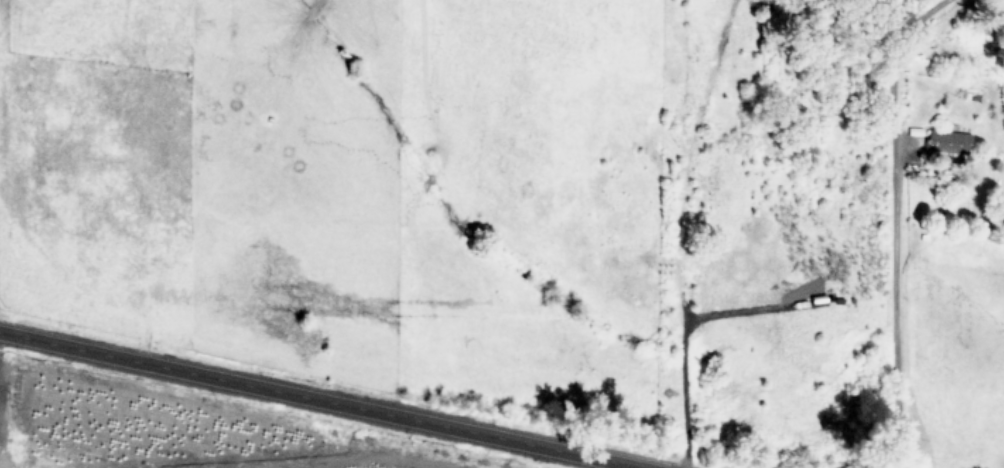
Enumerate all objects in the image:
building: (946, 140)
road: (898, 222)
road: (316, 400)
crop: (148, 434)

